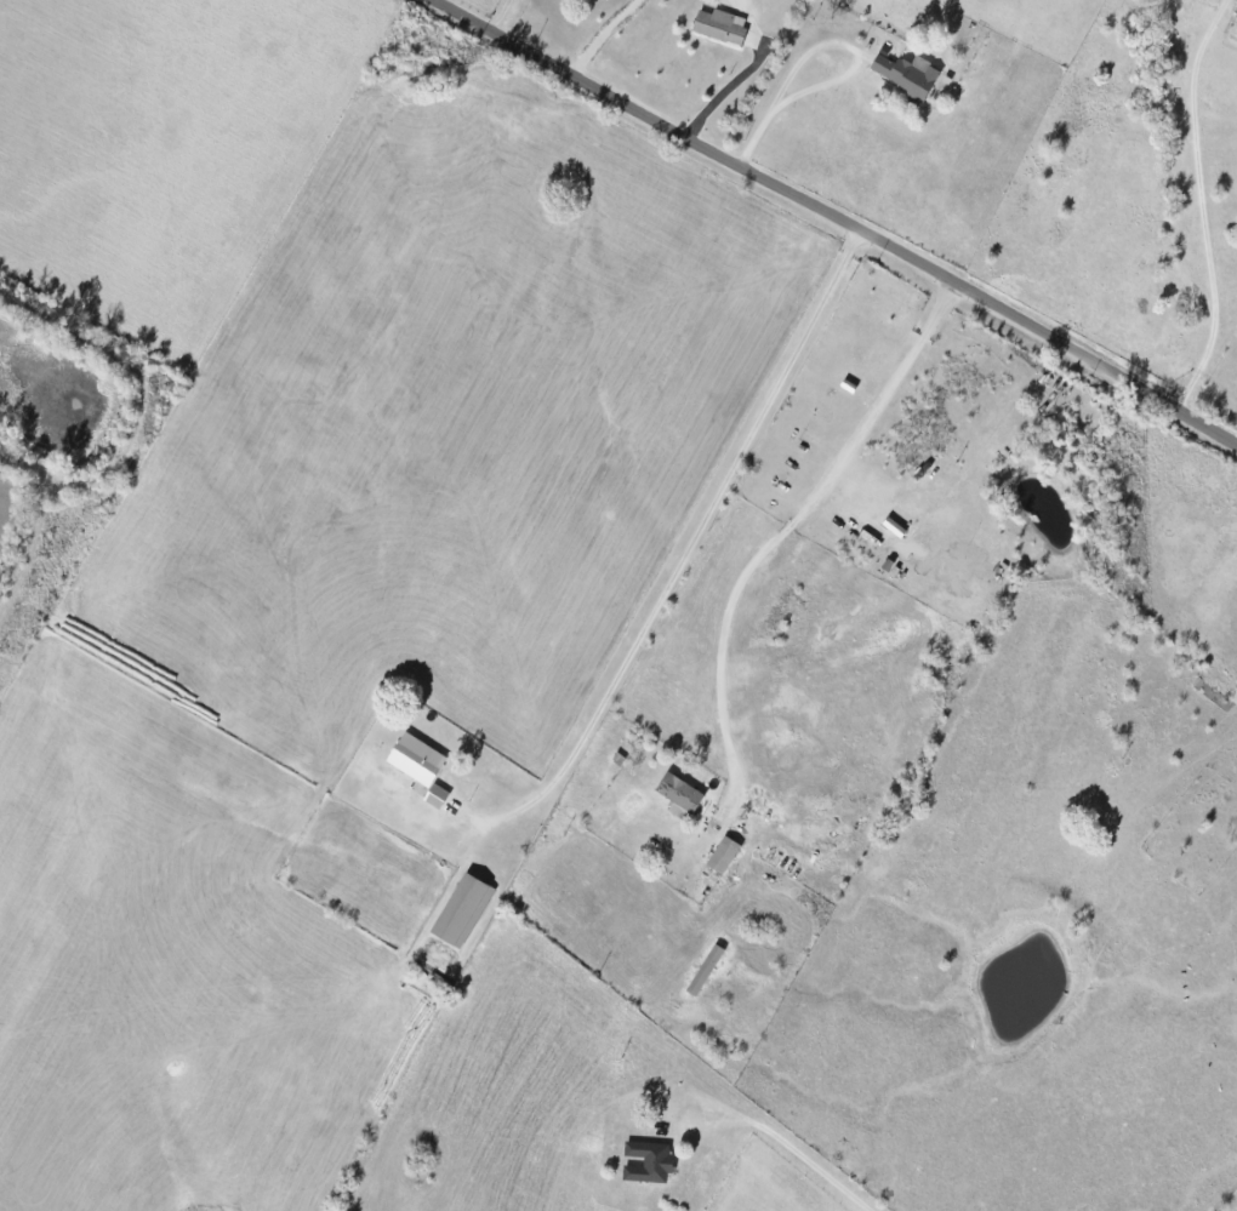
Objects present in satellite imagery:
building: (720, 25)
road: (611, 41)
road: (817, 63)
building: (906, 74)
road: (723, 109)
road: (1214, 216)
road: (830, 225)
road: (794, 535)
road: (702, 552)
building: (416, 759)
building: (678, 795)
building: (435, 796)
building: (723, 855)
building: (462, 910)
building: (705, 970)
road: (821, 1156)
building: (648, 1161)

